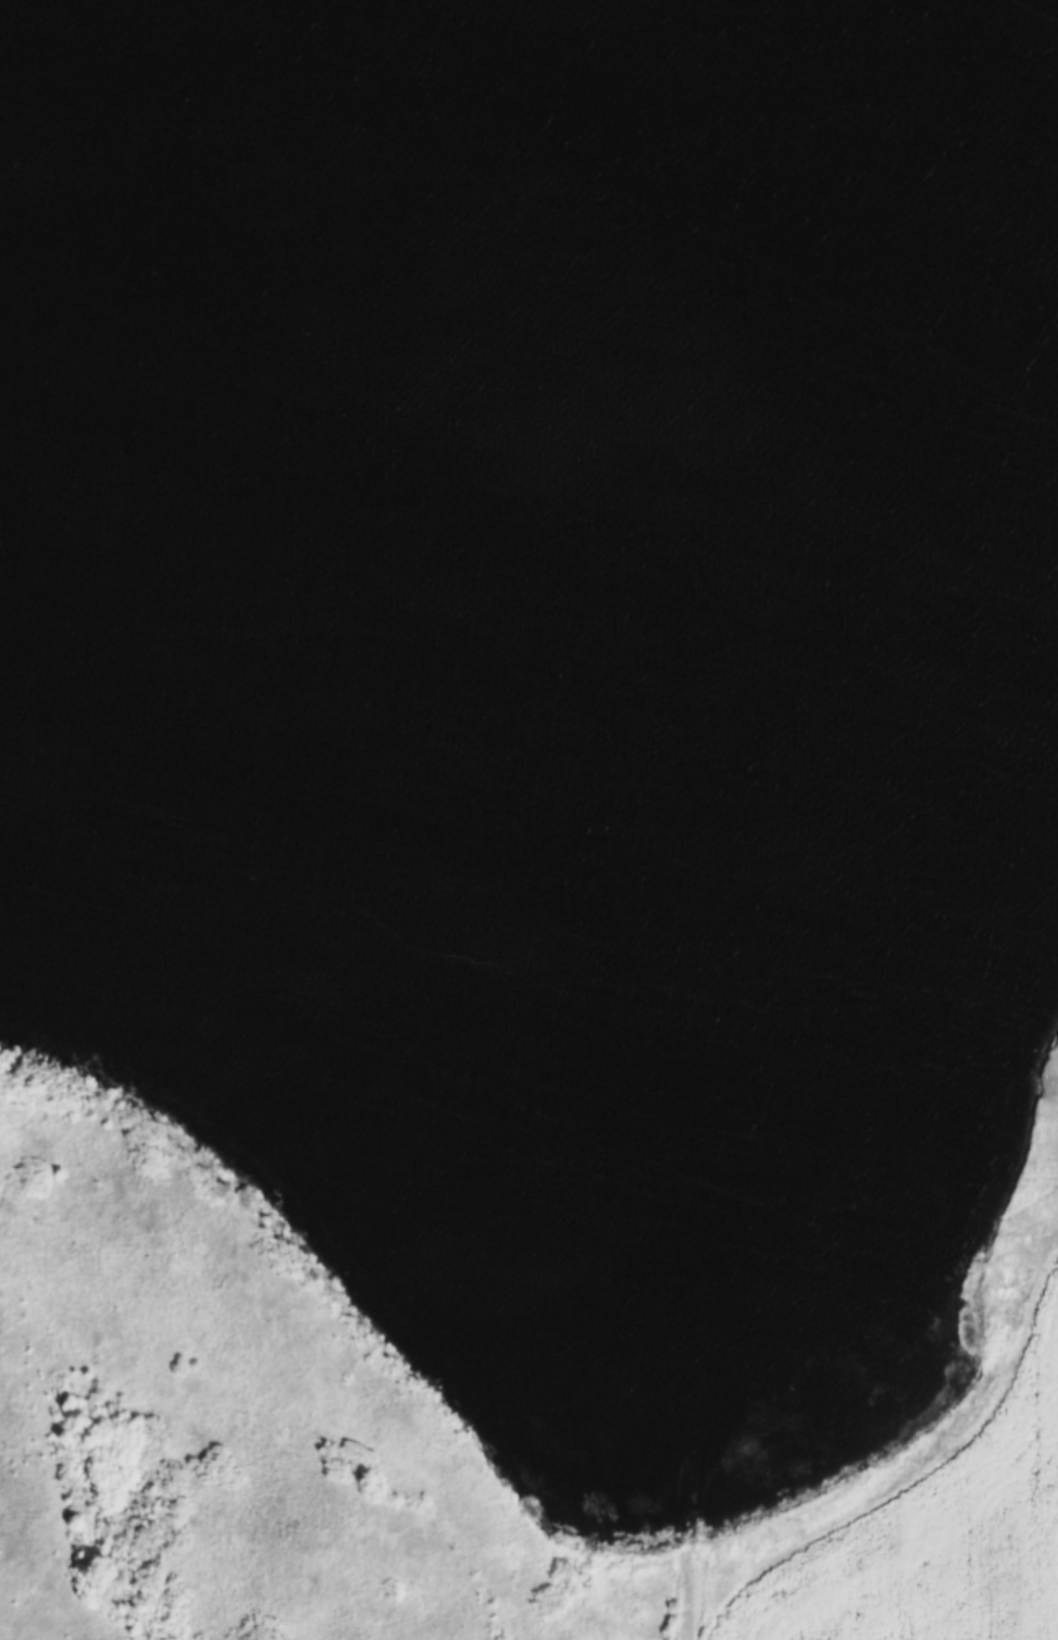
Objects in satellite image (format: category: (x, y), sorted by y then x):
road: (834, 1350)
road: (690, 1593)

